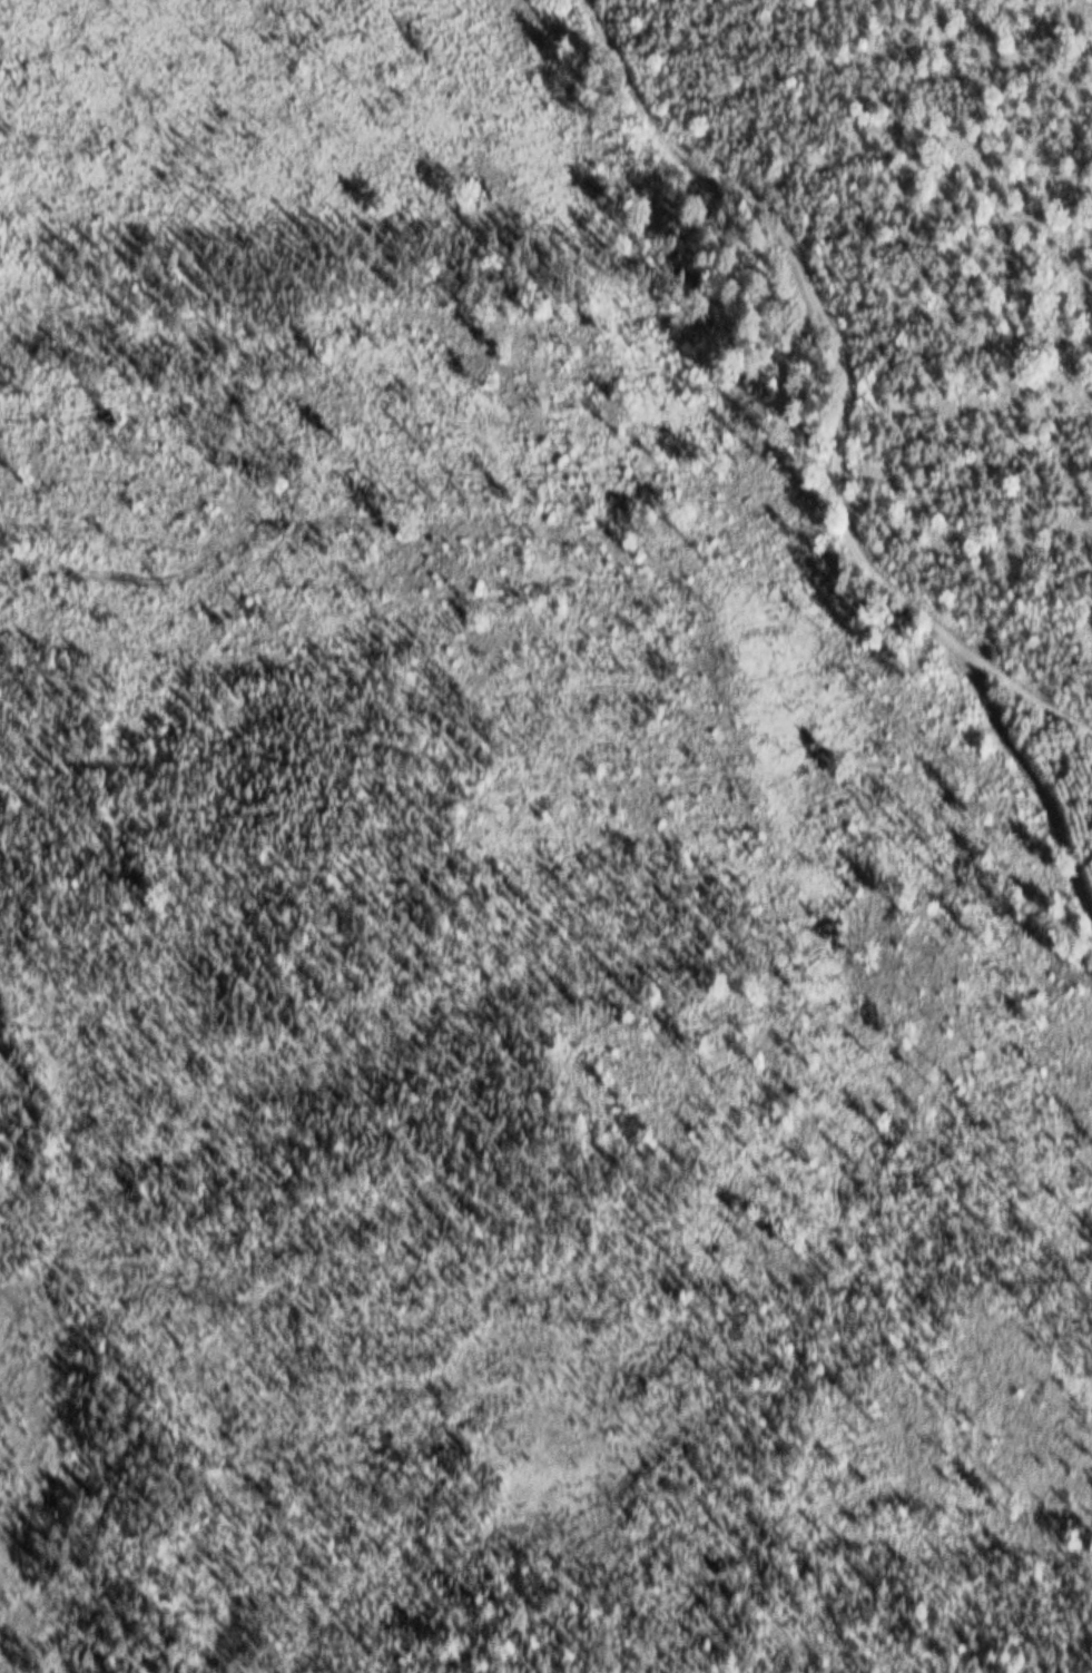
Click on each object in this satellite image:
road: (798, 406)

